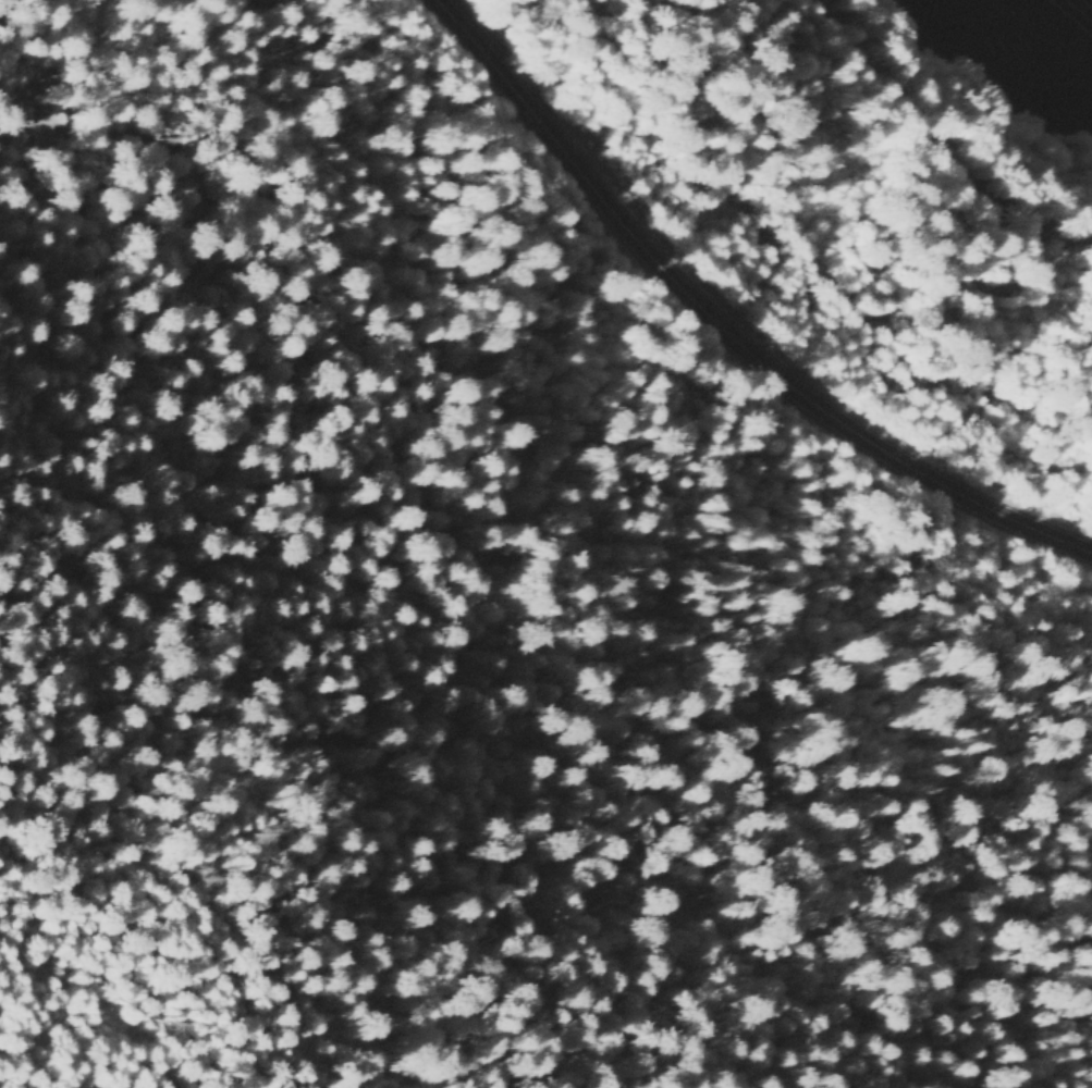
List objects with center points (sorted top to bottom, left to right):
river: (1058, 5)
road: (938, 135)
road: (713, 331)

